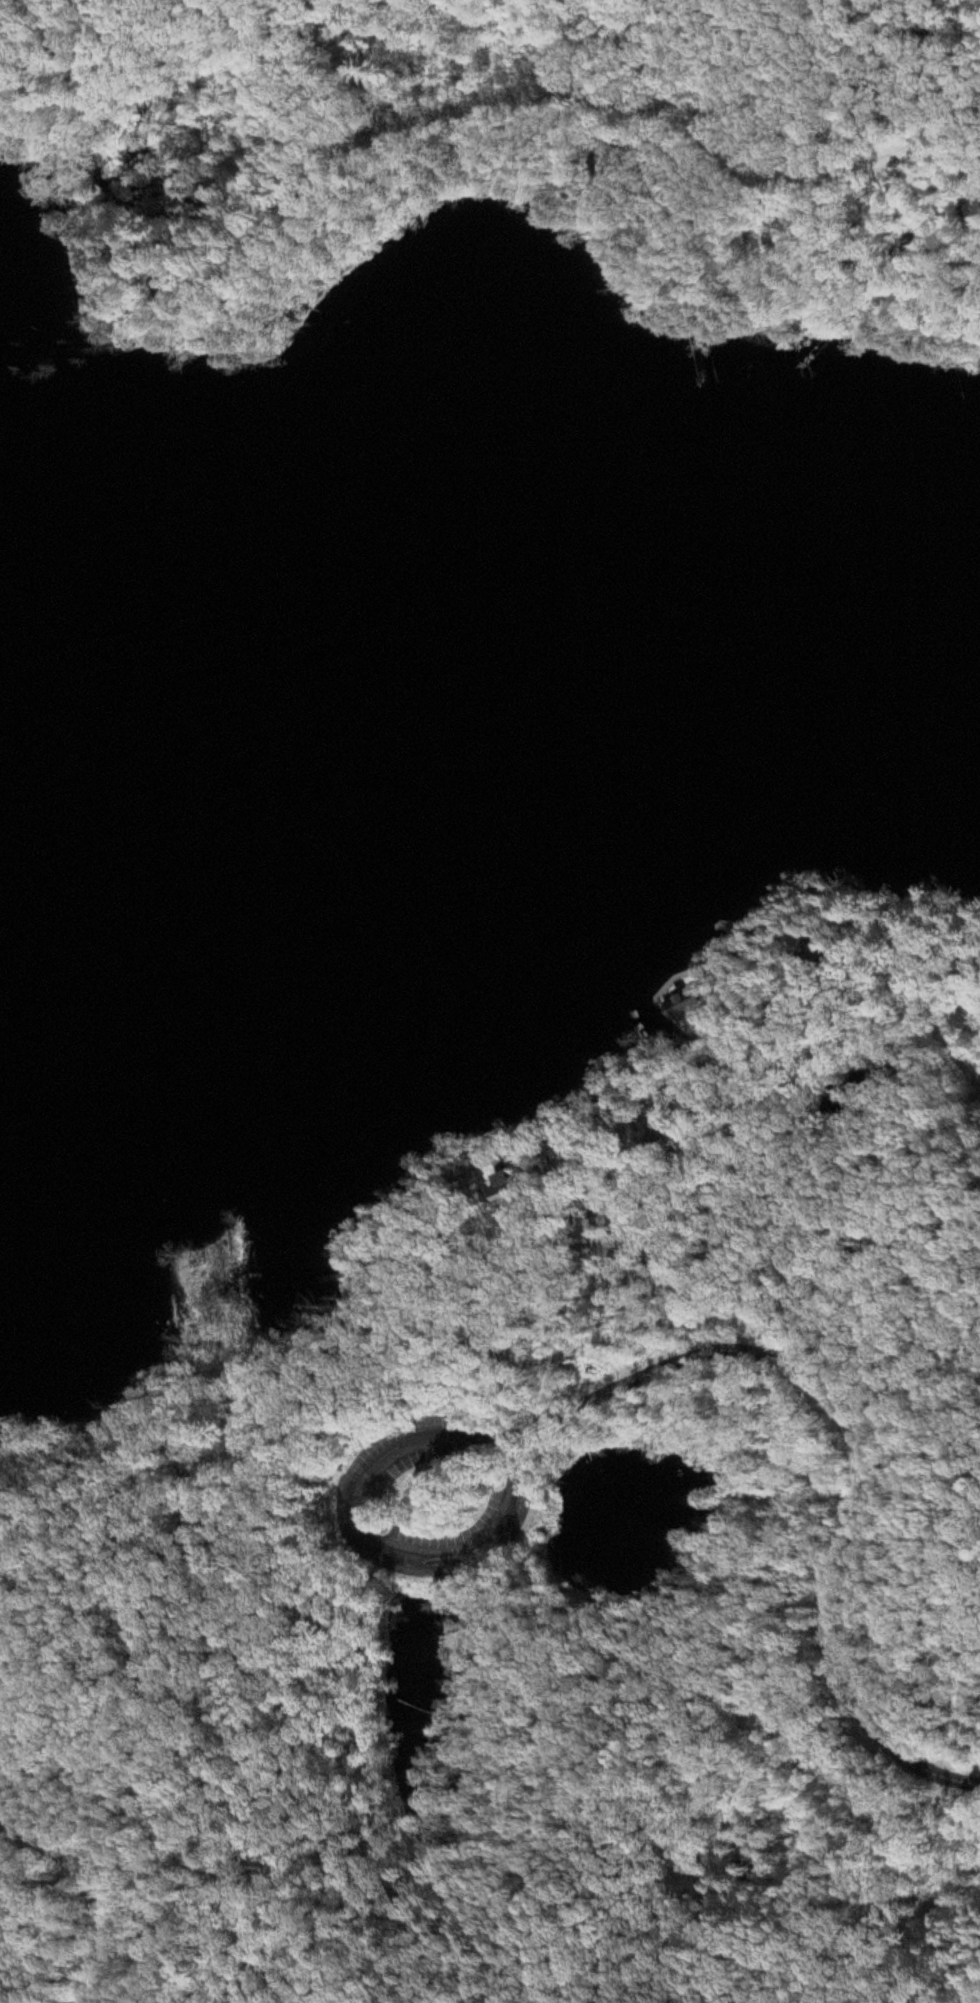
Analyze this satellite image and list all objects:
road: (599, 14)
road: (108, 70)
road: (401, 136)
road: (746, 160)
road: (730, 1132)
road: (618, 1155)
road: (768, 1179)
road: (872, 1194)
road: (640, 1296)
road: (867, 1456)
road: (373, 1490)

